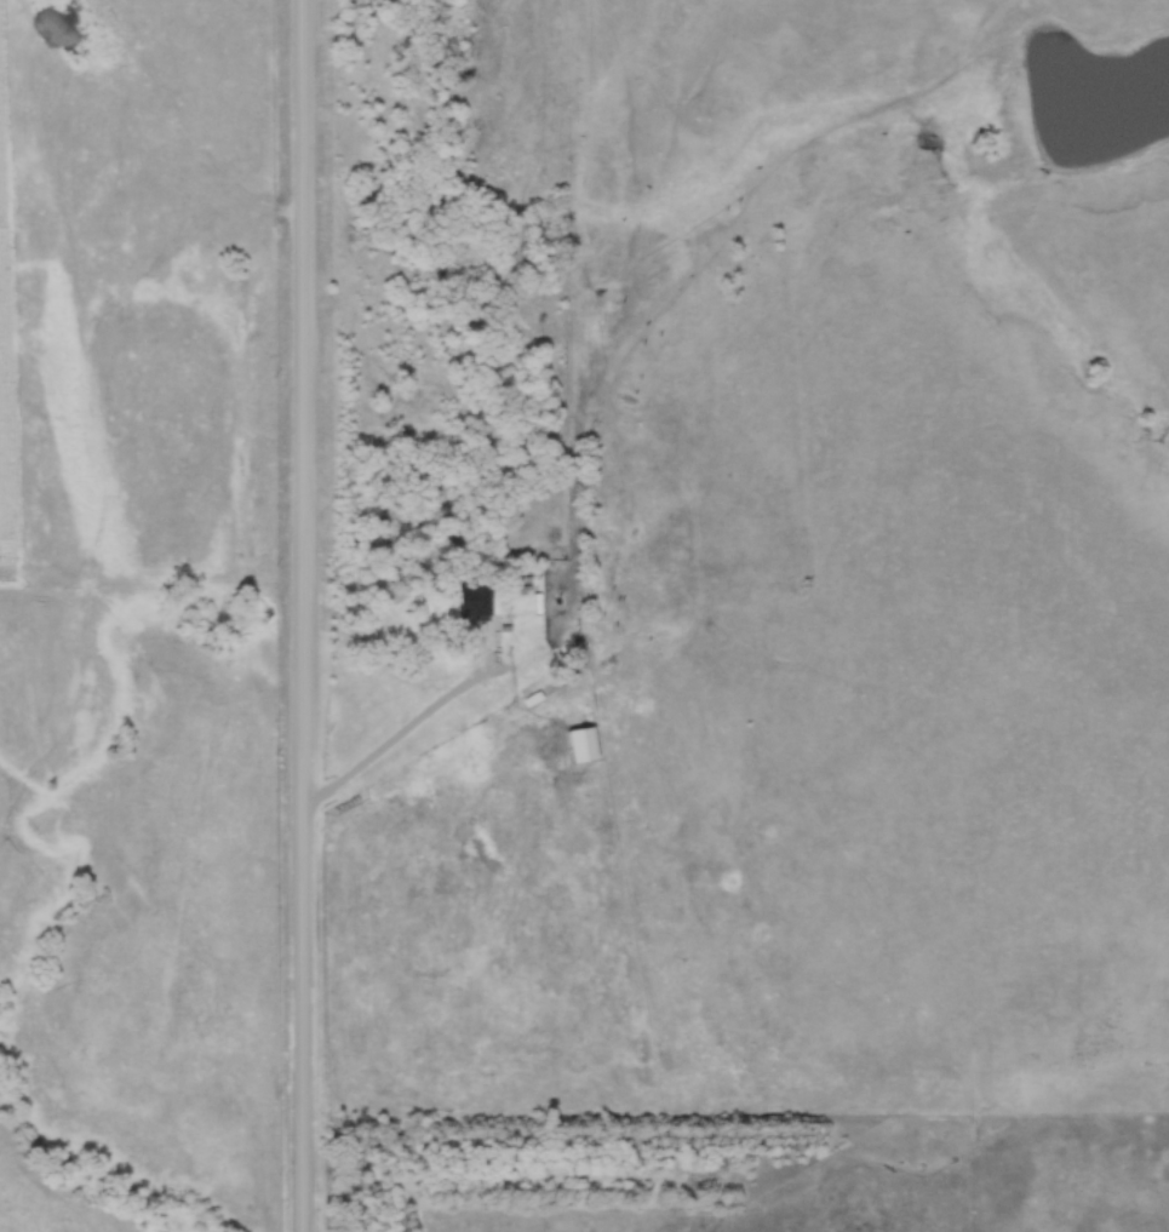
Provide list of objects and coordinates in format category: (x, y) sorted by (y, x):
crop: (5, 412)
building: (471, 606)
road: (299, 615)
road: (413, 722)
building: (487, 852)

